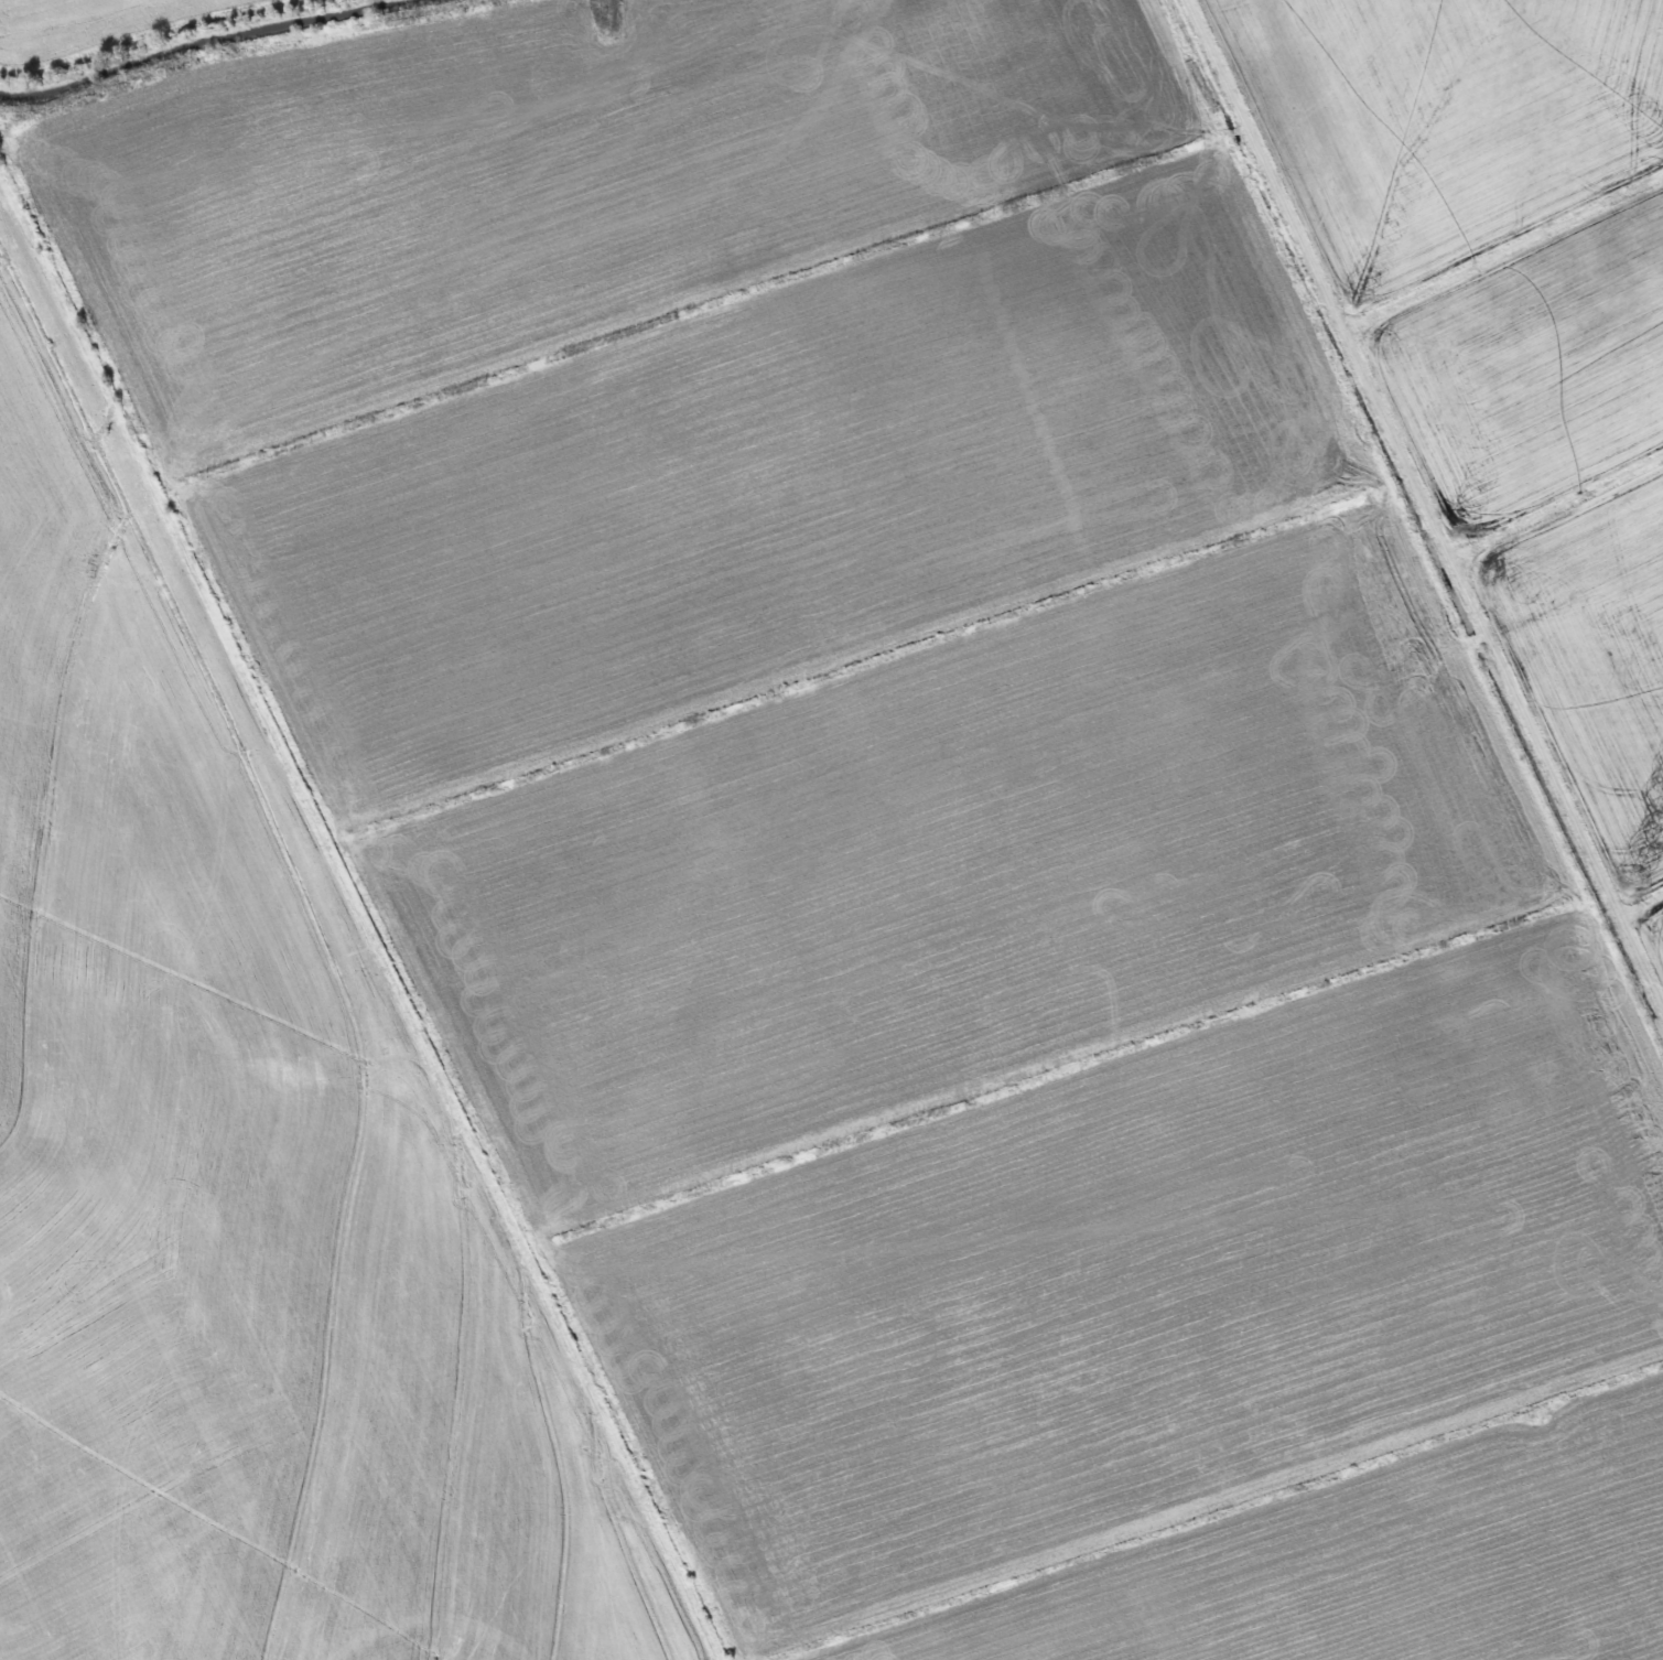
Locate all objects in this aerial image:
road: (1602, 1561)

